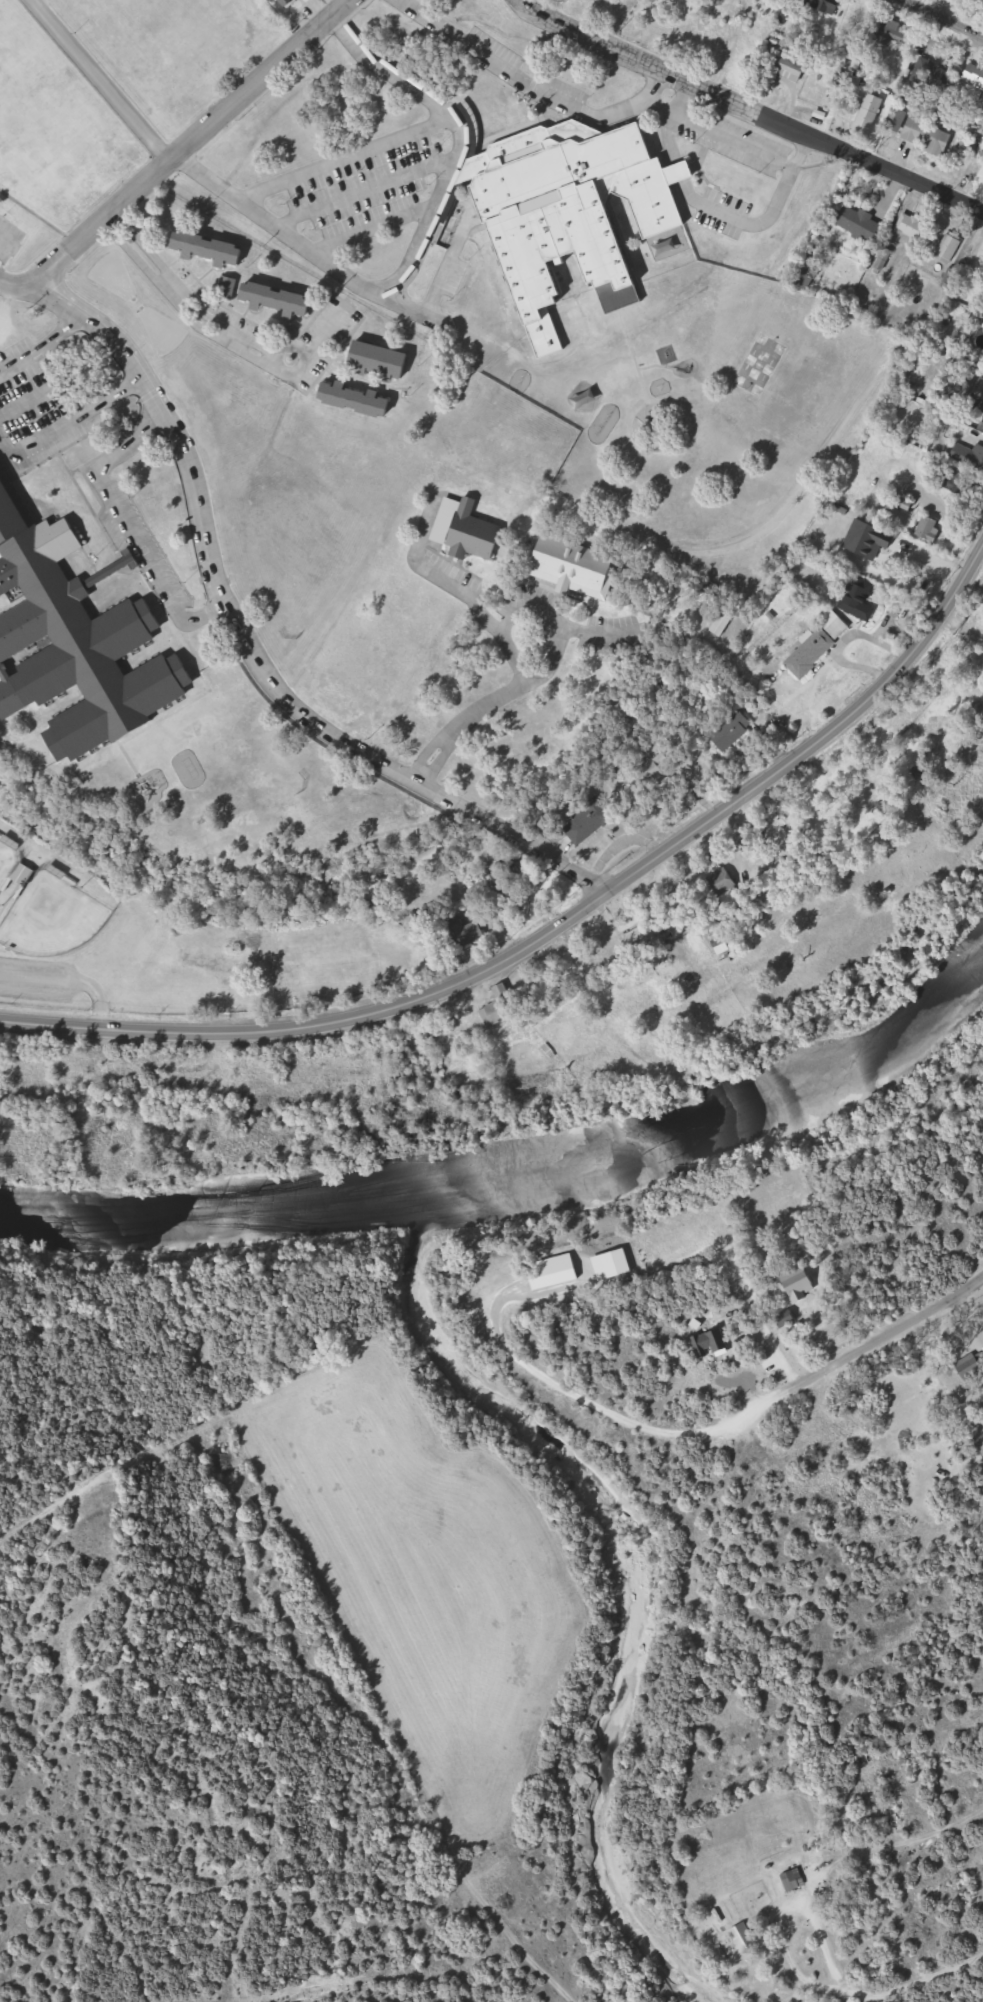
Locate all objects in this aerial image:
road: (948, 17)
building: (900, 36)
road: (385, 65)
building: (791, 68)
building: (974, 75)
building: (935, 76)
road: (97, 77)
road: (529, 83)
road: (752, 109)
building: (869, 115)
building: (922, 134)
road: (172, 144)
road: (360, 183)
road: (427, 211)
building: (577, 212)
road: (370, 219)
building: (861, 222)
building: (912, 227)
road: (5, 237)
building: (950, 247)
building: (210, 248)
building: (804, 272)
building: (229, 287)
building: (282, 300)
road: (219, 328)
road: (42, 336)
building: (384, 359)
building: (980, 390)
road: (24, 395)
building: (359, 399)
road: (68, 412)
building: (969, 457)
road: (123, 515)
building: (929, 528)
building: (475, 533)
building: (884, 549)
building: (575, 567)
building: (861, 598)
road: (490, 621)
building: (836, 626)
building: (75, 640)
road: (249, 645)
building: (811, 653)
road: (492, 702)
building: (590, 823)
park: (8, 863)
building: (726, 889)
park: (53, 918)
building: (453, 932)
road: (555, 933)
park: (74, 935)
building: (638, 940)
building: (496, 1013)
building: (553, 1281)
building: (799, 1283)
building: (969, 1368)
road: (769, 1404)
building: (788, 1882)
building: (745, 1936)

